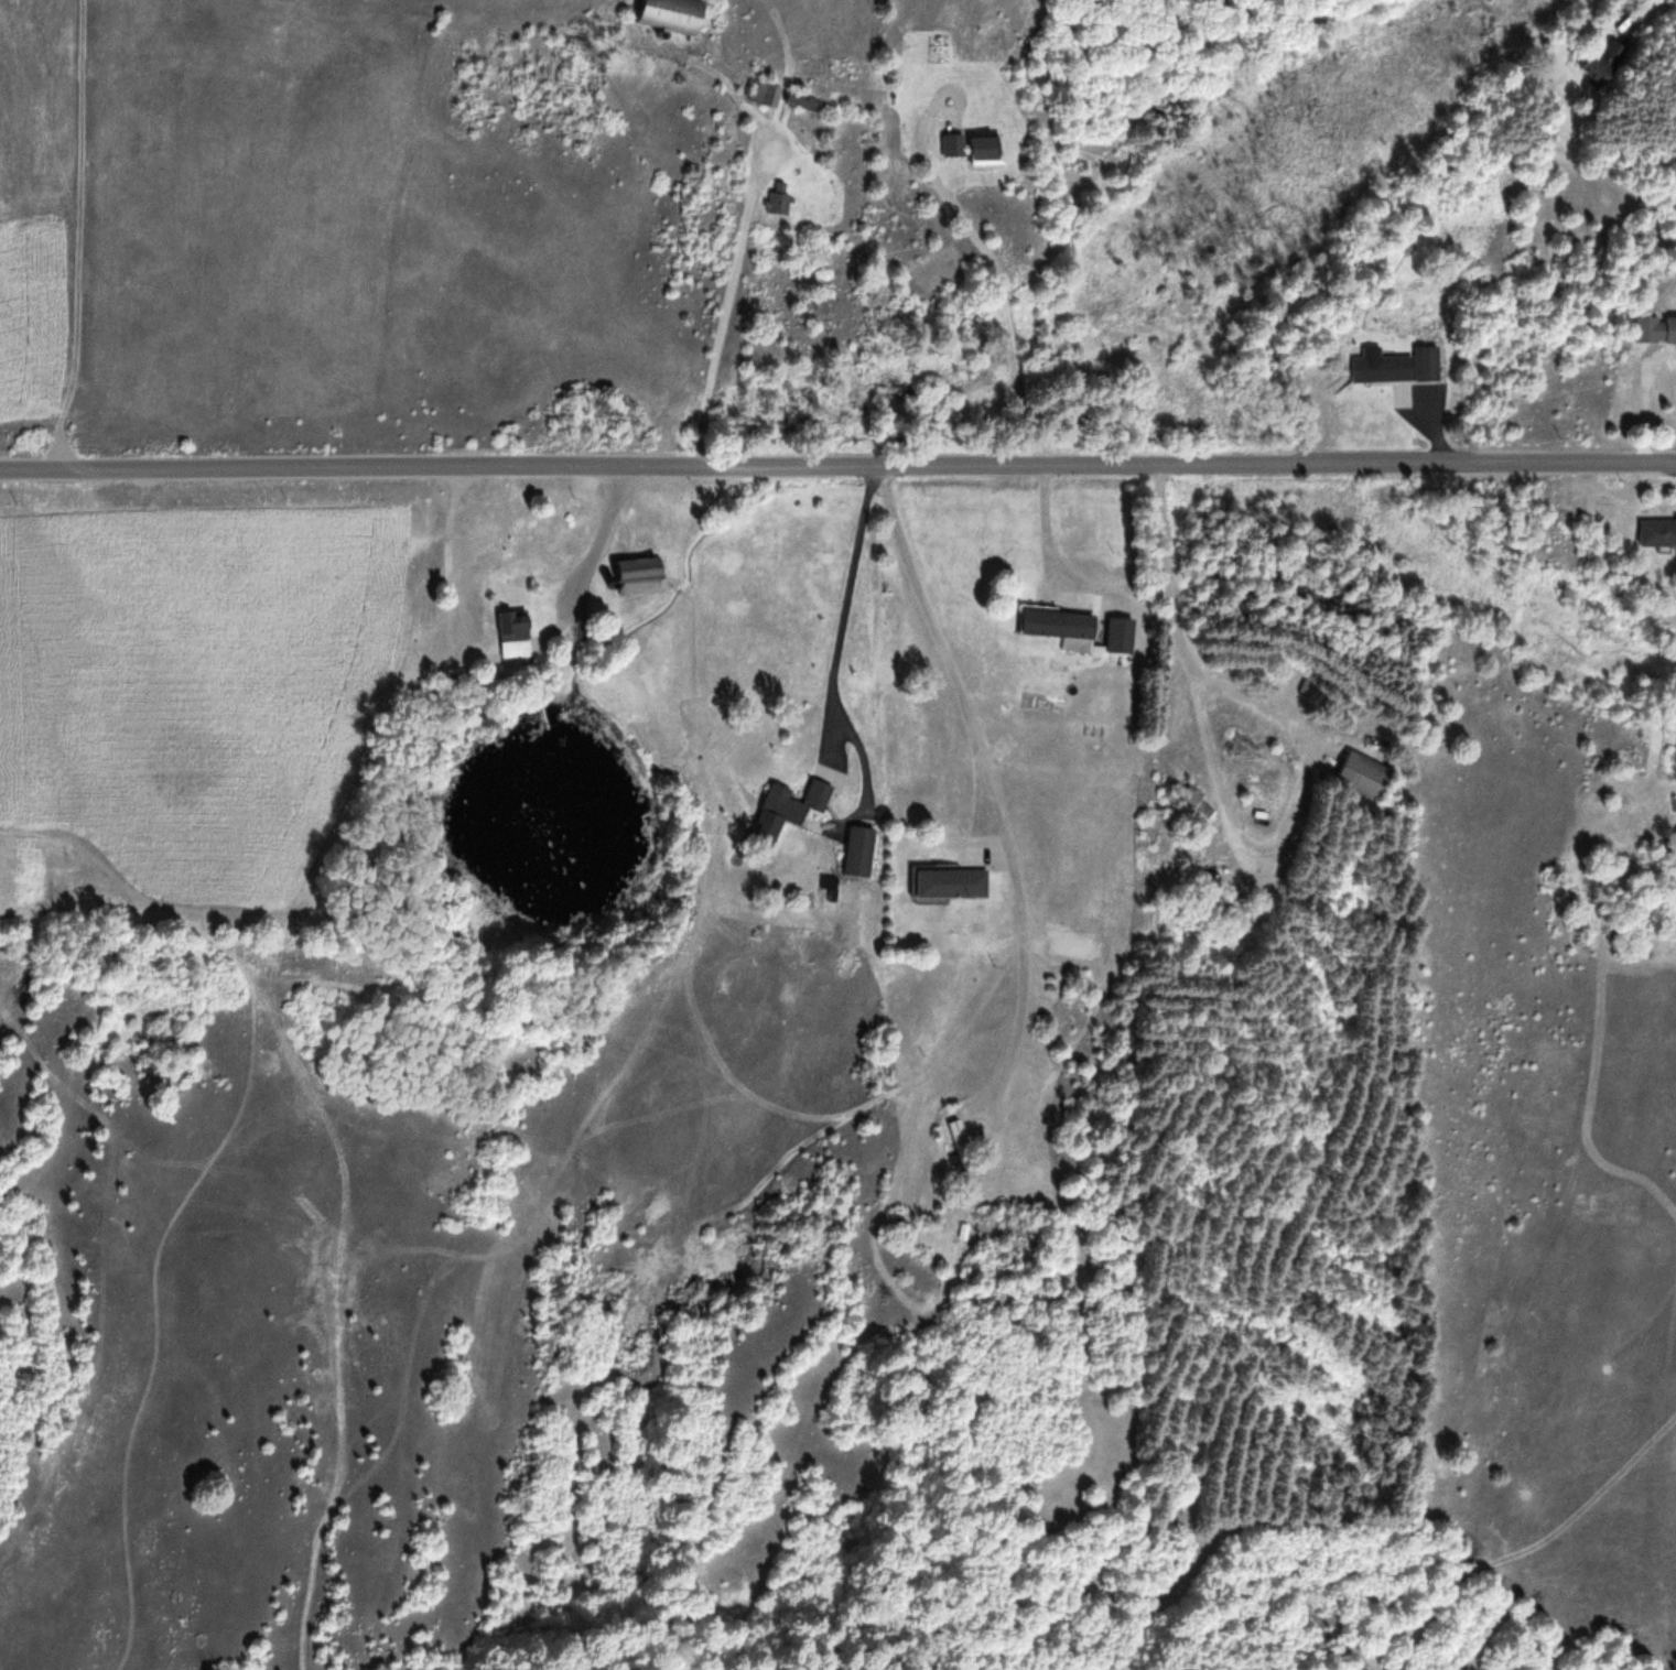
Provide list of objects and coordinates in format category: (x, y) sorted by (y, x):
building: (674, 14)
building: (1597, 69)
building: (780, 199)
building: (1655, 329)
building: (1398, 367)
road: (837, 470)
building: (1656, 532)
building: (641, 575)
building: (1061, 628)
building: (516, 633)
building: (1362, 776)
building: (797, 802)
building: (1666, 852)
building: (861, 853)
building: (952, 883)
building: (962, 1146)

